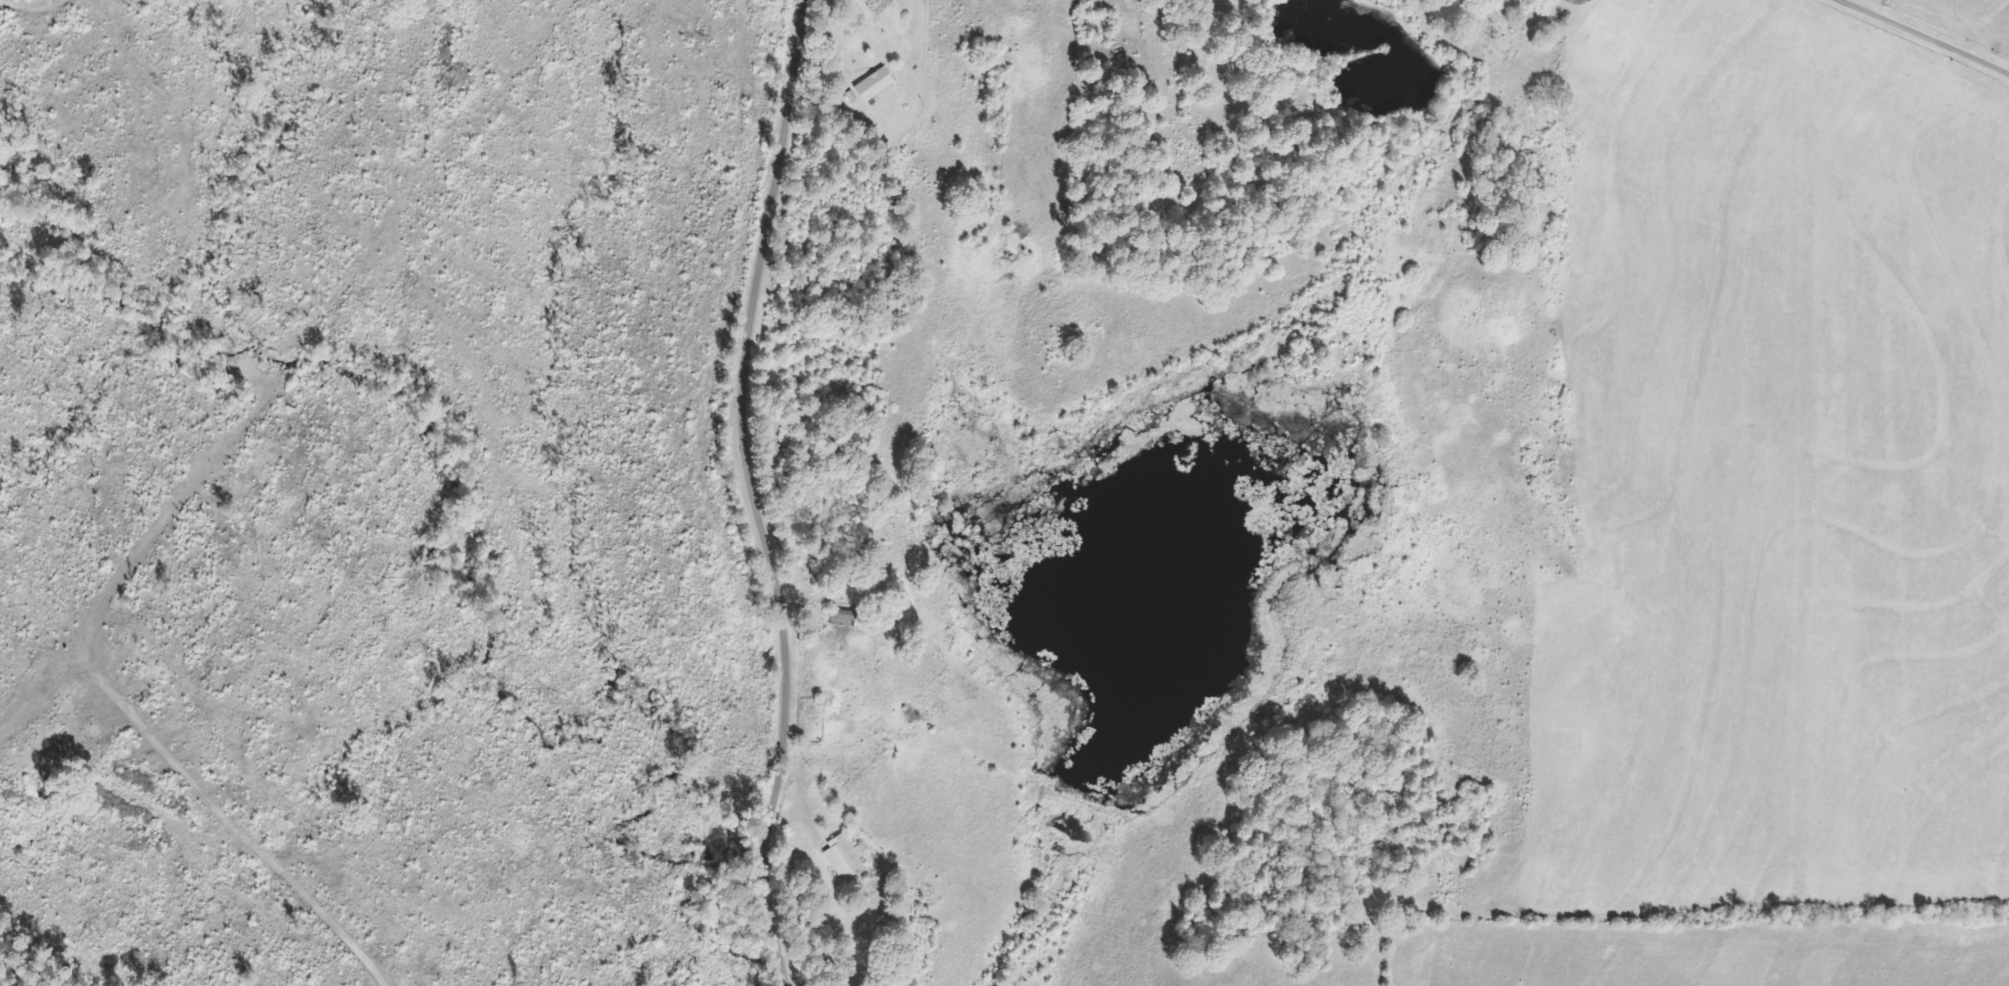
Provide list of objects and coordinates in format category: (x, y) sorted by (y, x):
road: (1888, 53)
building: (872, 88)
road: (766, 493)
building: (842, 859)
road: (146, 934)

